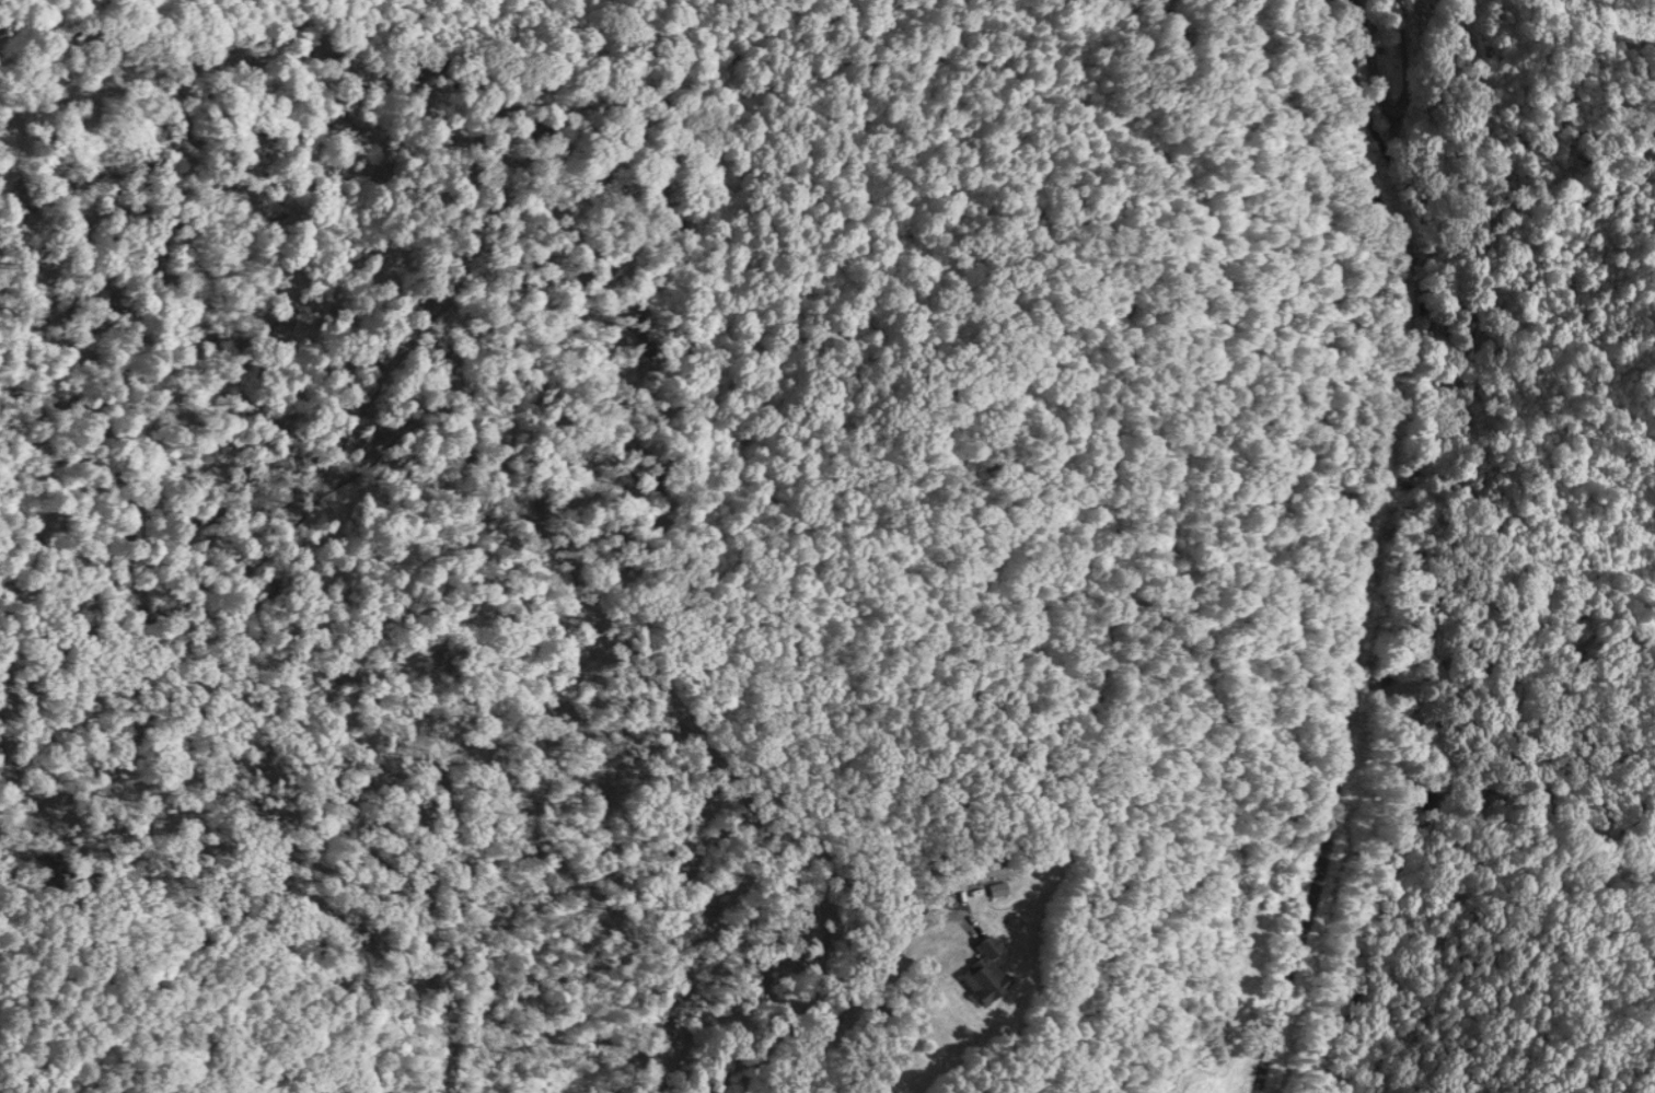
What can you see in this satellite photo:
road: (1392, 119)
road: (1362, 544)
building: (989, 973)
road: (867, 987)

